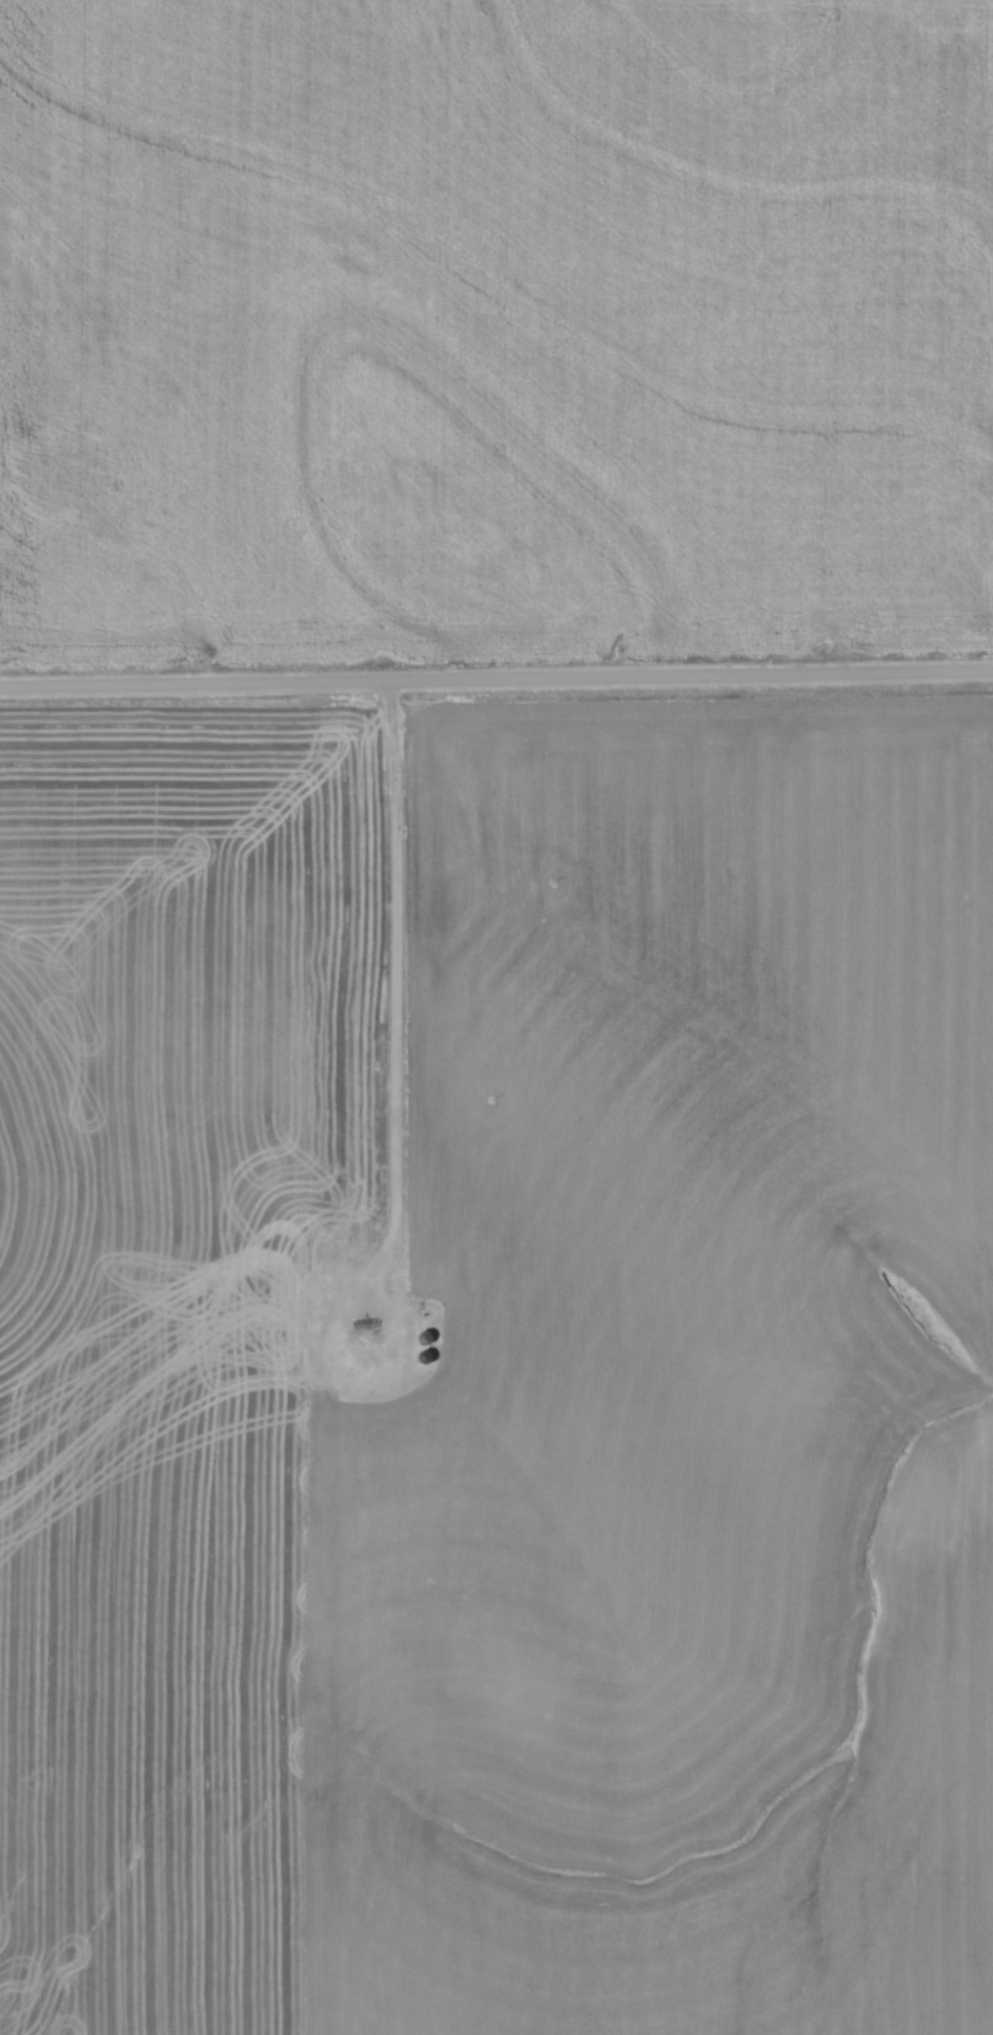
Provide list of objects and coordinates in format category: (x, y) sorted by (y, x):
road: (496, 680)
road: (391, 945)
building: (321, 1304)
building: (428, 1337)
building: (427, 1356)
building: (364, 1363)

